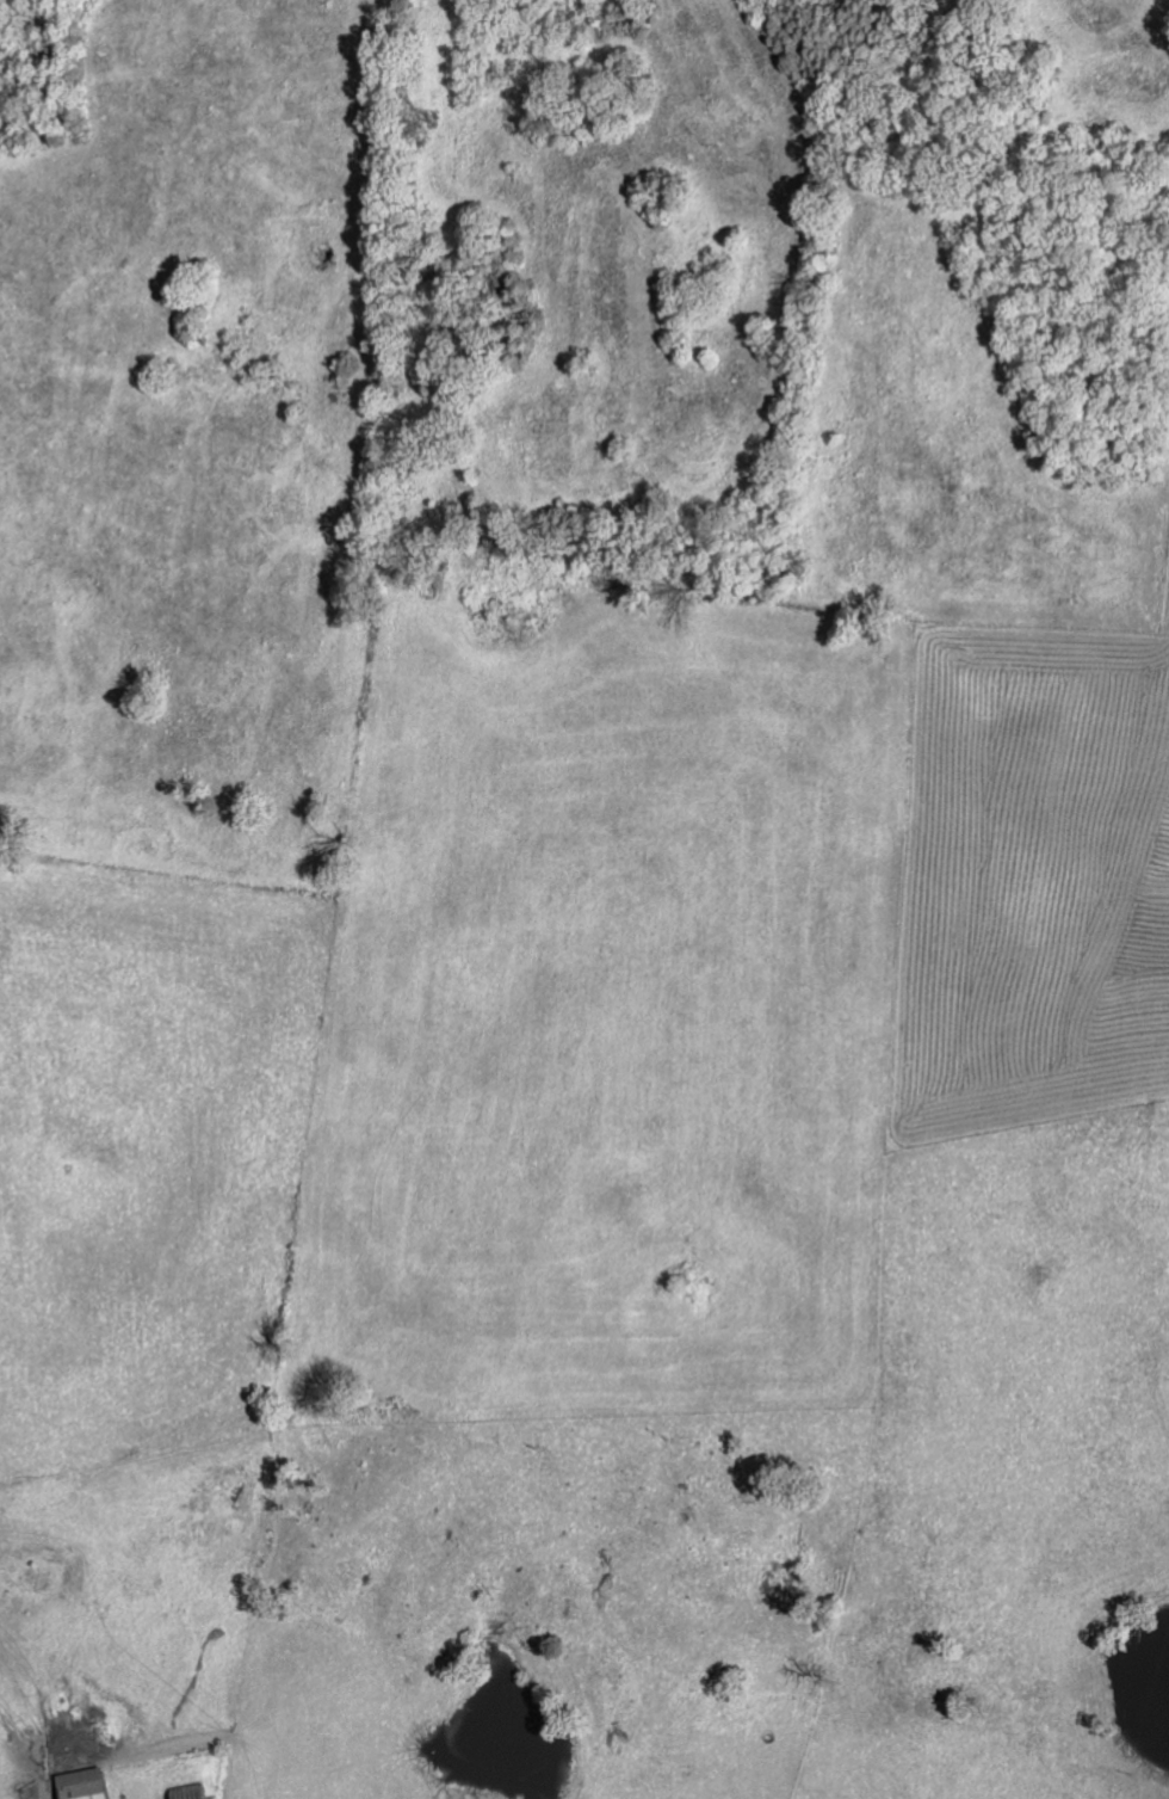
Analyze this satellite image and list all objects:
building: (82, 1783)

